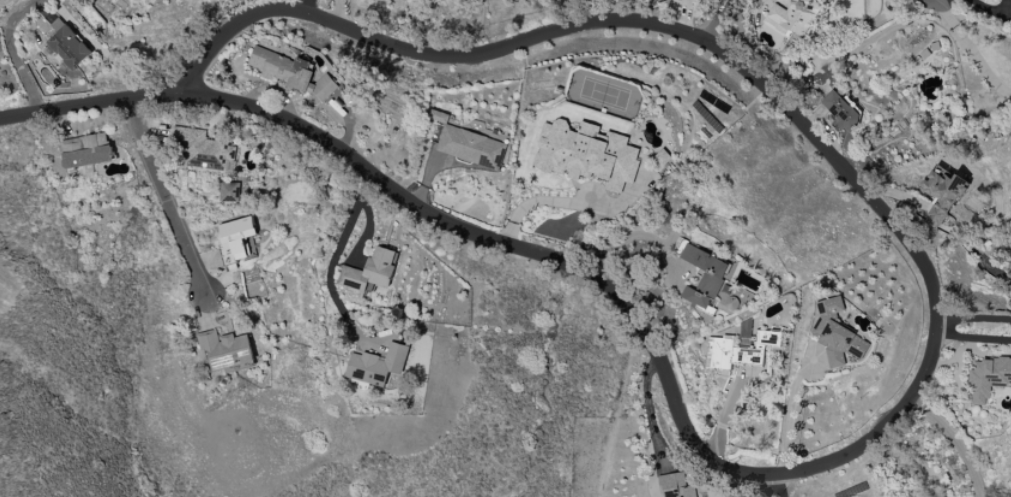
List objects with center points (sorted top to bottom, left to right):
building: (696, 0)
road: (309, 6)
road: (338, 12)
building: (793, 14)
road: (718, 19)
building: (67, 45)
road: (14, 51)
road: (971, 51)
building: (292, 73)
road: (91, 102)
building: (842, 109)
building: (468, 145)
building: (205, 150)
building: (86, 151)
building: (586, 154)
building: (662, 158)
building: (230, 192)
road: (166, 196)
building: (941, 197)
road: (536, 202)
building: (237, 236)
road: (634, 238)
road: (333, 265)
building: (370, 271)
building: (706, 279)
road: (974, 317)
building: (836, 334)
road: (934, 336)
road: (972, 339)
building: (226, 349)
building: (739, 351)
building: (377, 366)
building: (988, 378)
road: (790, 408)
road: (954, 441)
road: (777, 484)
road: (755, 485)
building: (676, 486)

